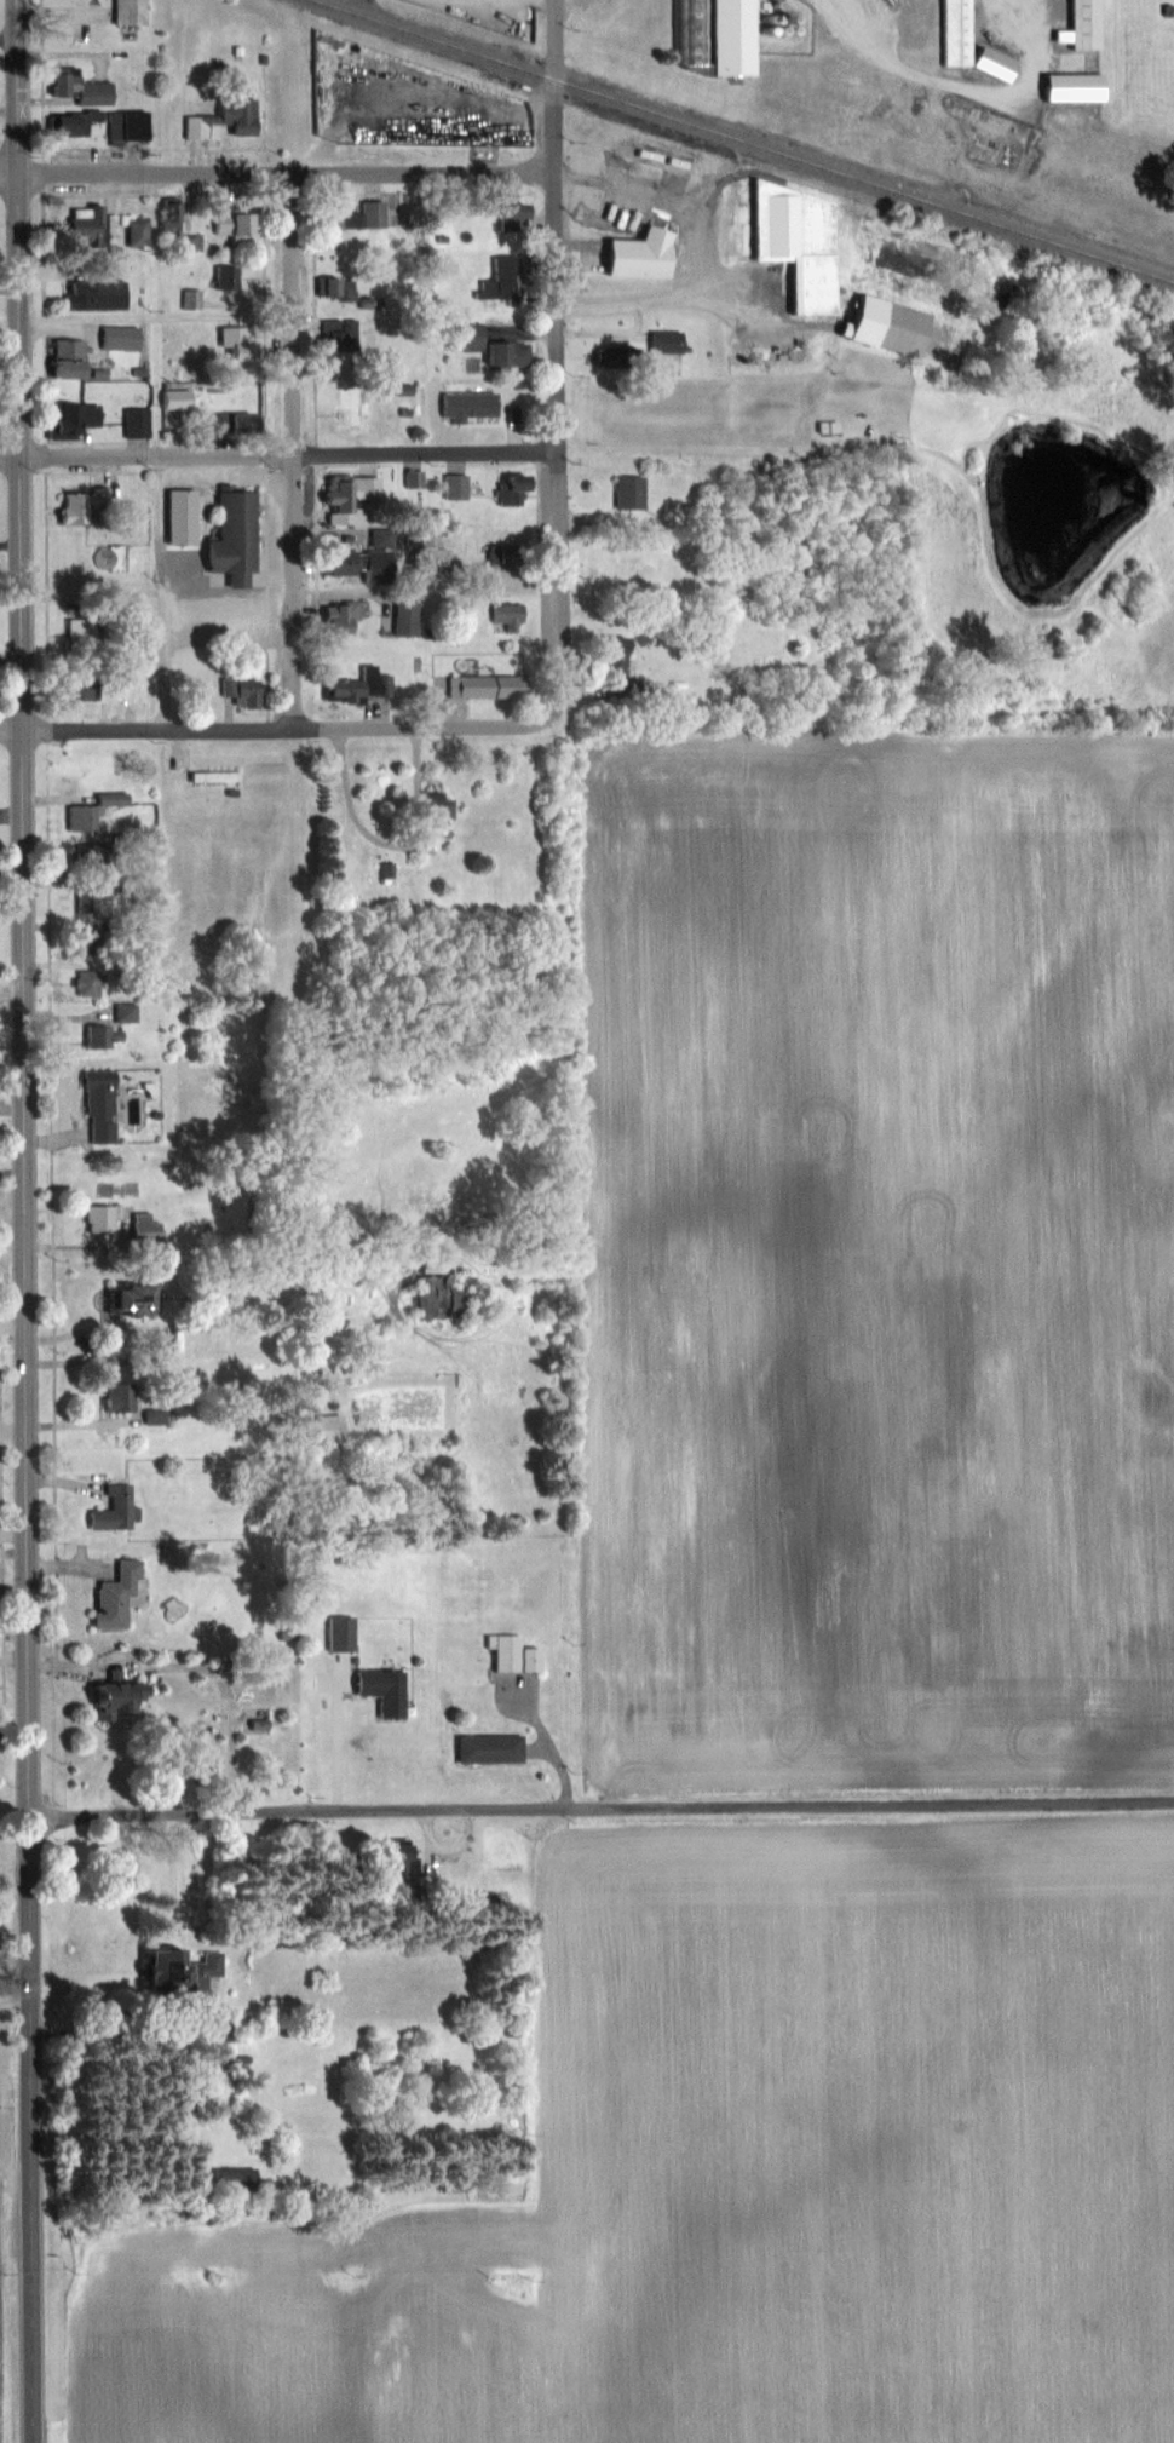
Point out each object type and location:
building: (136, 12)
building: (1081, 25)
building: (709, 35)
road: (8, 36)
building: (966, 44)
building: (85, 86)
building: (1070, 87)
road: (969, 91)
building: (229, 120)
building: (104, 125)
railway: (743, 142)
road: (10, 173)
road: (287, 173)
building: (374, 214)
building: (238, 226)
building: (93, 230)
building: (143, 231)
building: (185, 236)
building: (650, 254)
building: (225, 277)
building: (508, 278)
building: (345, 288)
building: (100, 294)
road: (157, 315)
building: (875, 333)
building: (123, 338)
building: (501, 350)
road: (557, 350)
building: (74, 358)
building: (621, 358)
building: (182, 398)
building: (358, 406)
building: (485, 418)
building: (70, 420)
building: (140, 423)
building: (240, 425)
road: (295, 452)
road: (11, 459)
road: (292, 459)
building: (413, 479)
building: (460, 487)
building: (634, 493)
building: (356, 499)
building: (87, 507)
building: (186, 516)
building: (237, 538)
building: (510, 557)
building: (512, 617)
road: (180, 622)
building: (84, 630)
building: (487, 686)
building: (234, 688)
road: (297, 729)
road: (12, 732)
building: (430, 807)
building: (91, 982)
road: (25, 1016)
building: (98, 1035)
building: (104, 1105)
building: (438, 1295)
building: (144, 1299)
building: (123, 1397)
building: (122, 1507)
building: (123, 1593)
building: (345, 1632)
building: (519, 1654)
road: (194, 1667)
building: (387, 1689)
building: (126, 1696)
road: (15, 1724)
road: (539, 1740)
road: (338, 1744)
building: (495, 1748)
road: (602, 1806)
building: (189, 1970)
road: (16, 2001)
road: (35, 2237)

